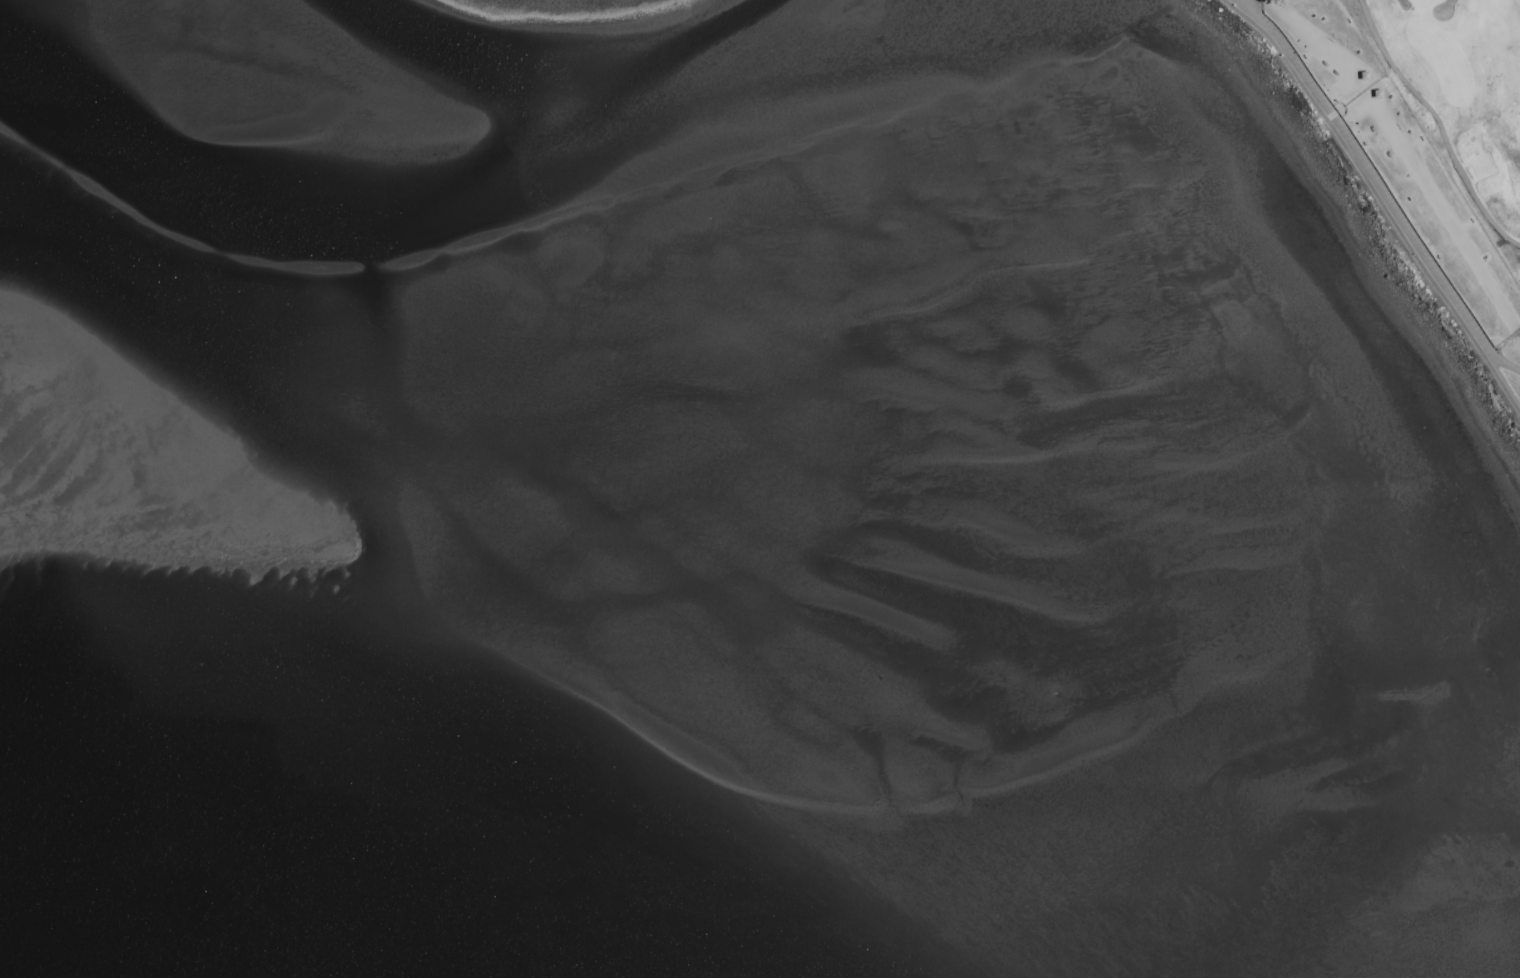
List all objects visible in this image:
park: (1422, 2)
park: (555, 7)
park: (1460, 97)
road: (1403, 153)
road: (1386, 201)
road: (1488, 350)

